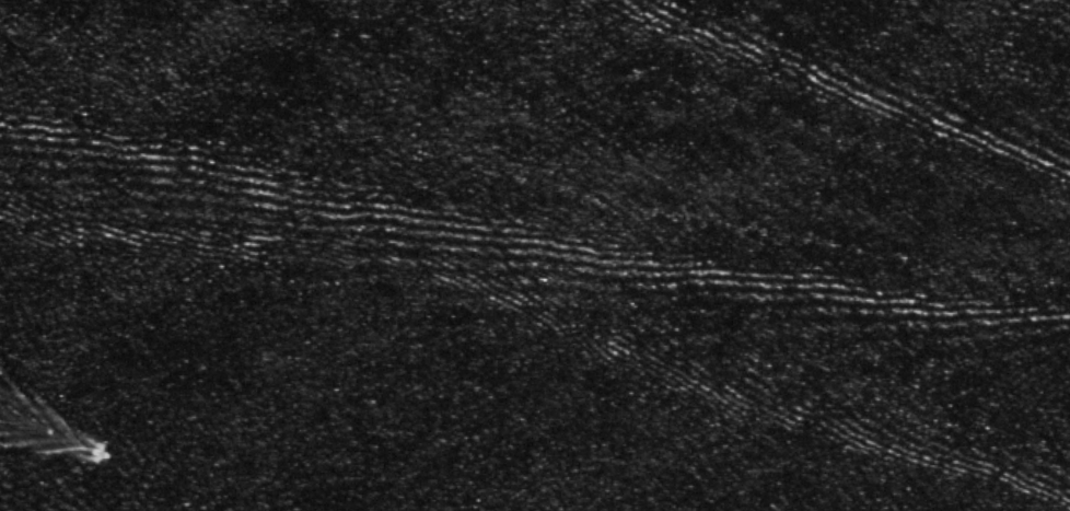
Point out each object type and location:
river: (671, 125)

